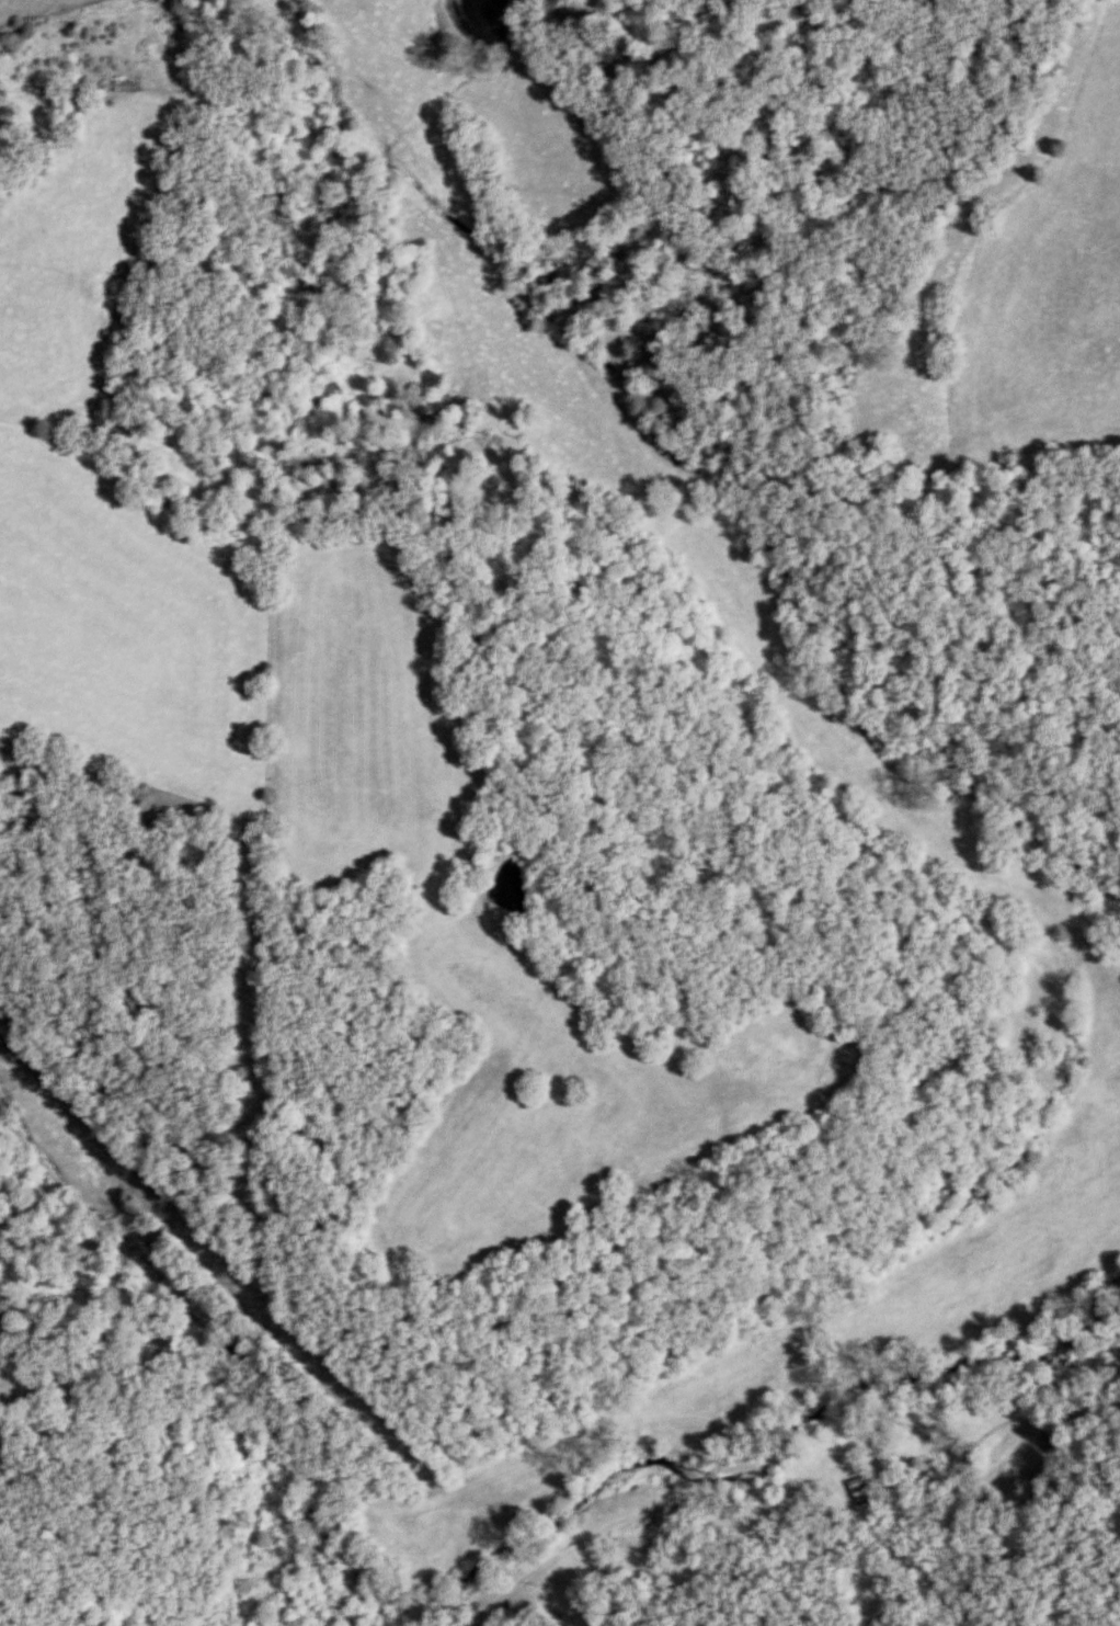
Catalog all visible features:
building: (860, 1491)

